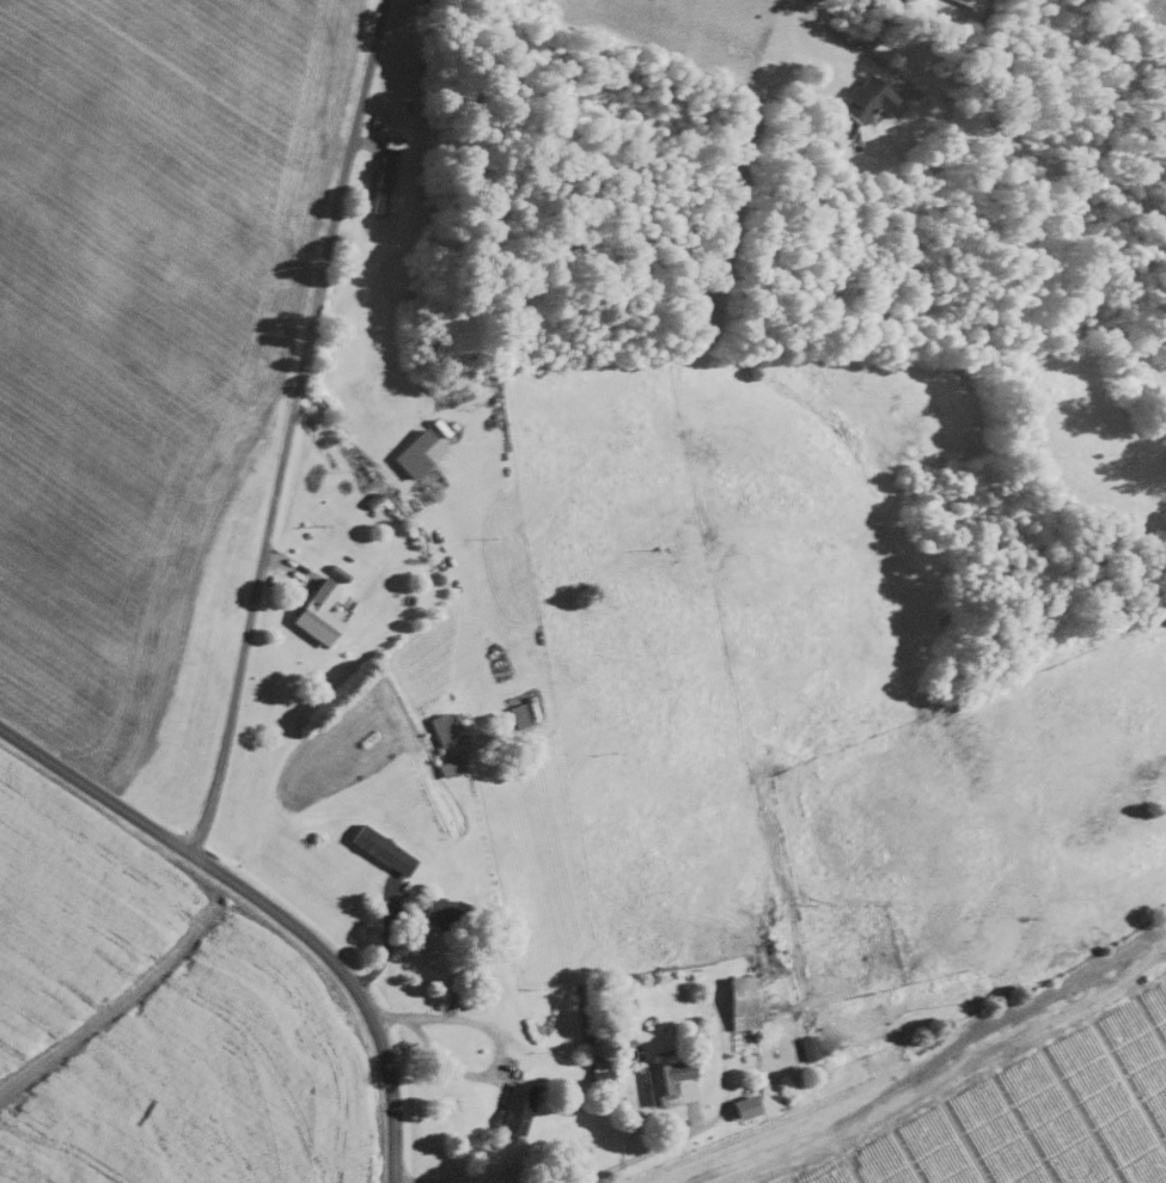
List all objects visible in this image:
building: (970, 1)
road: (856, 42)
building: (865, 97)
building: (378, 183)
road: (285, 428)
building: (414, 451)
building: (313, 611)
building: (440, 728)
building: (379, 848)
road: (267, 905)
building: (437, 909)
building: (735, 1001)
road: (493, 1043)
building: (806, 1047)
building: (663, 1075)
building: (740, 1105)
building: (514, 1106)
road: (631, 1154)
road: (397, 1182)

